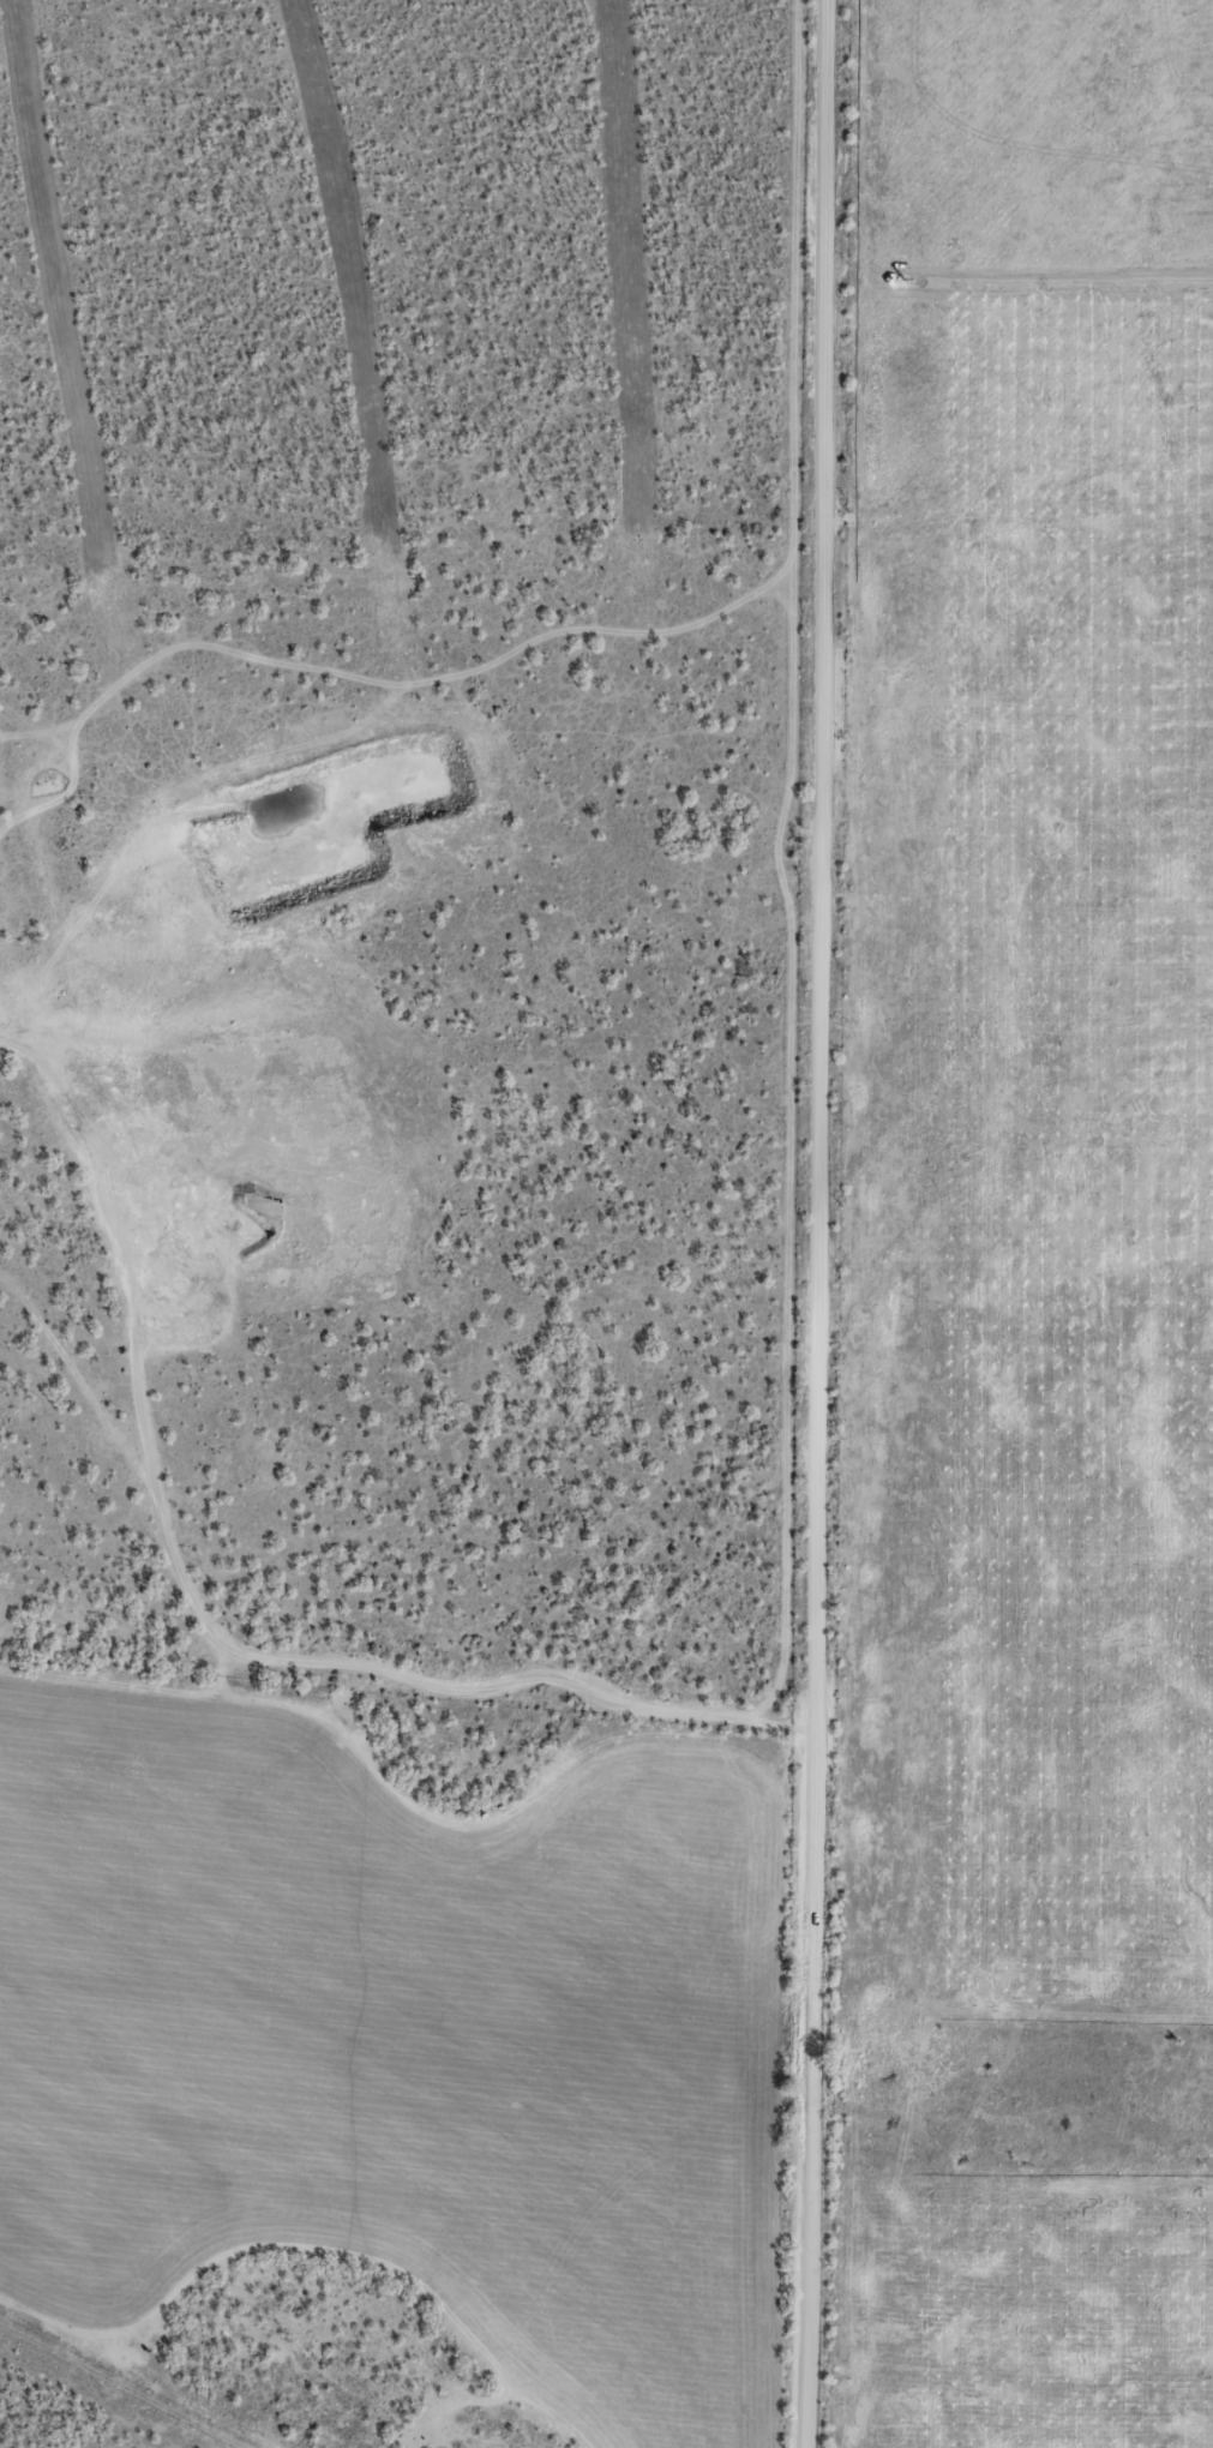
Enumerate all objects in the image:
road: (813, 1224)

